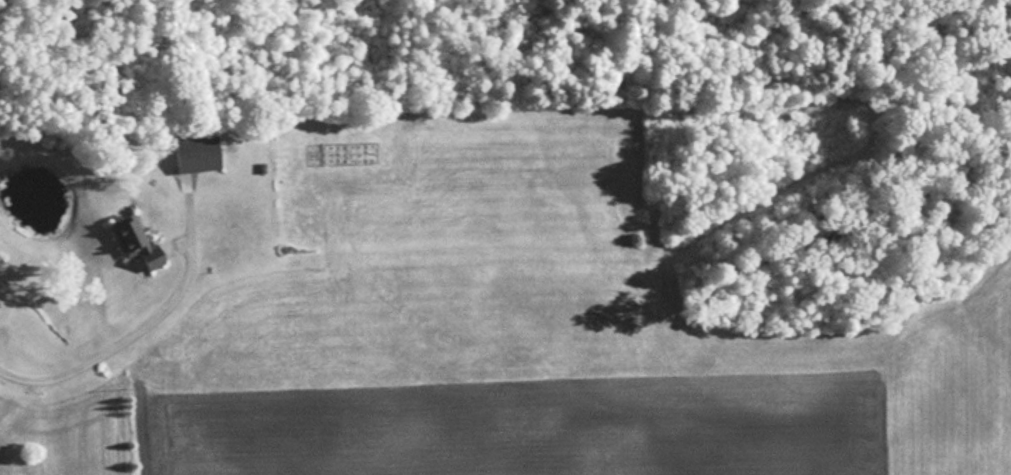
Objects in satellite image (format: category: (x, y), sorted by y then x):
building: (198, 154)
building: (132, 237)
road: (119, 331)

